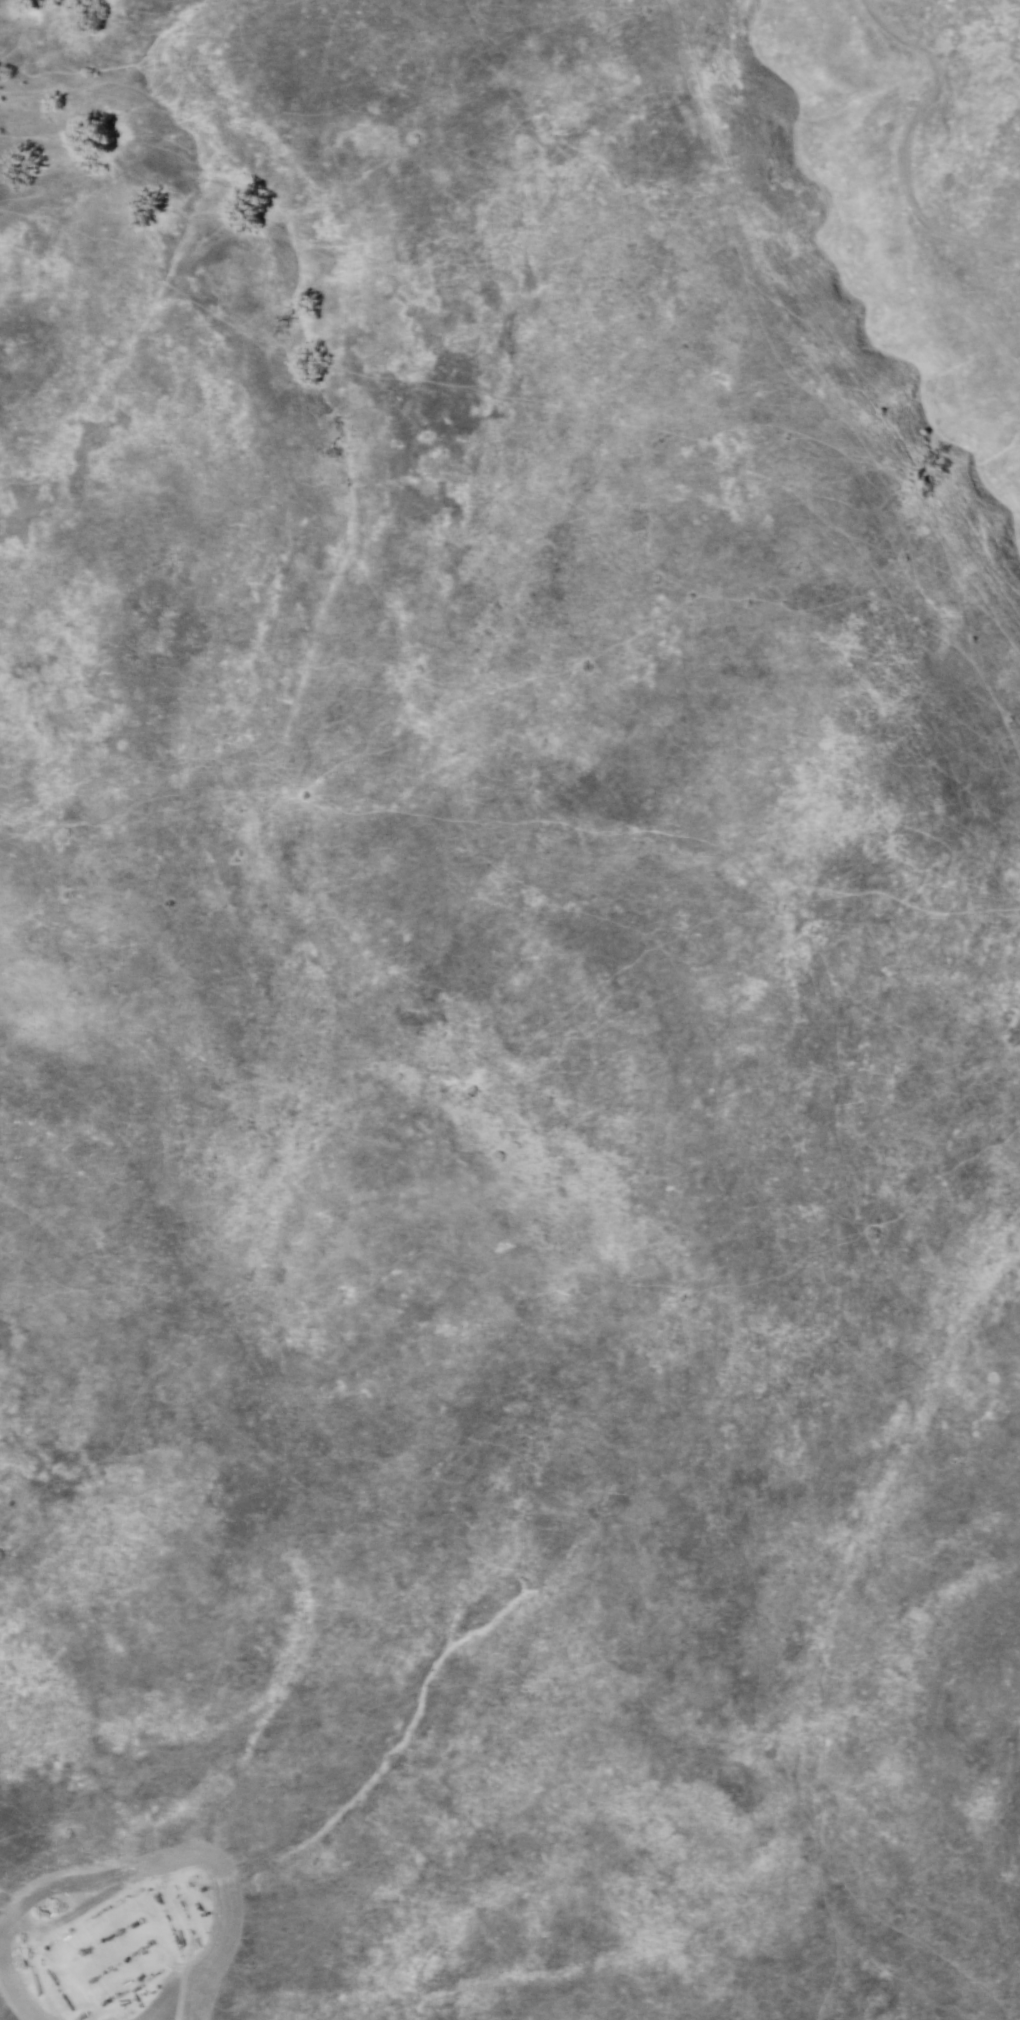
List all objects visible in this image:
road: (909, 143)

